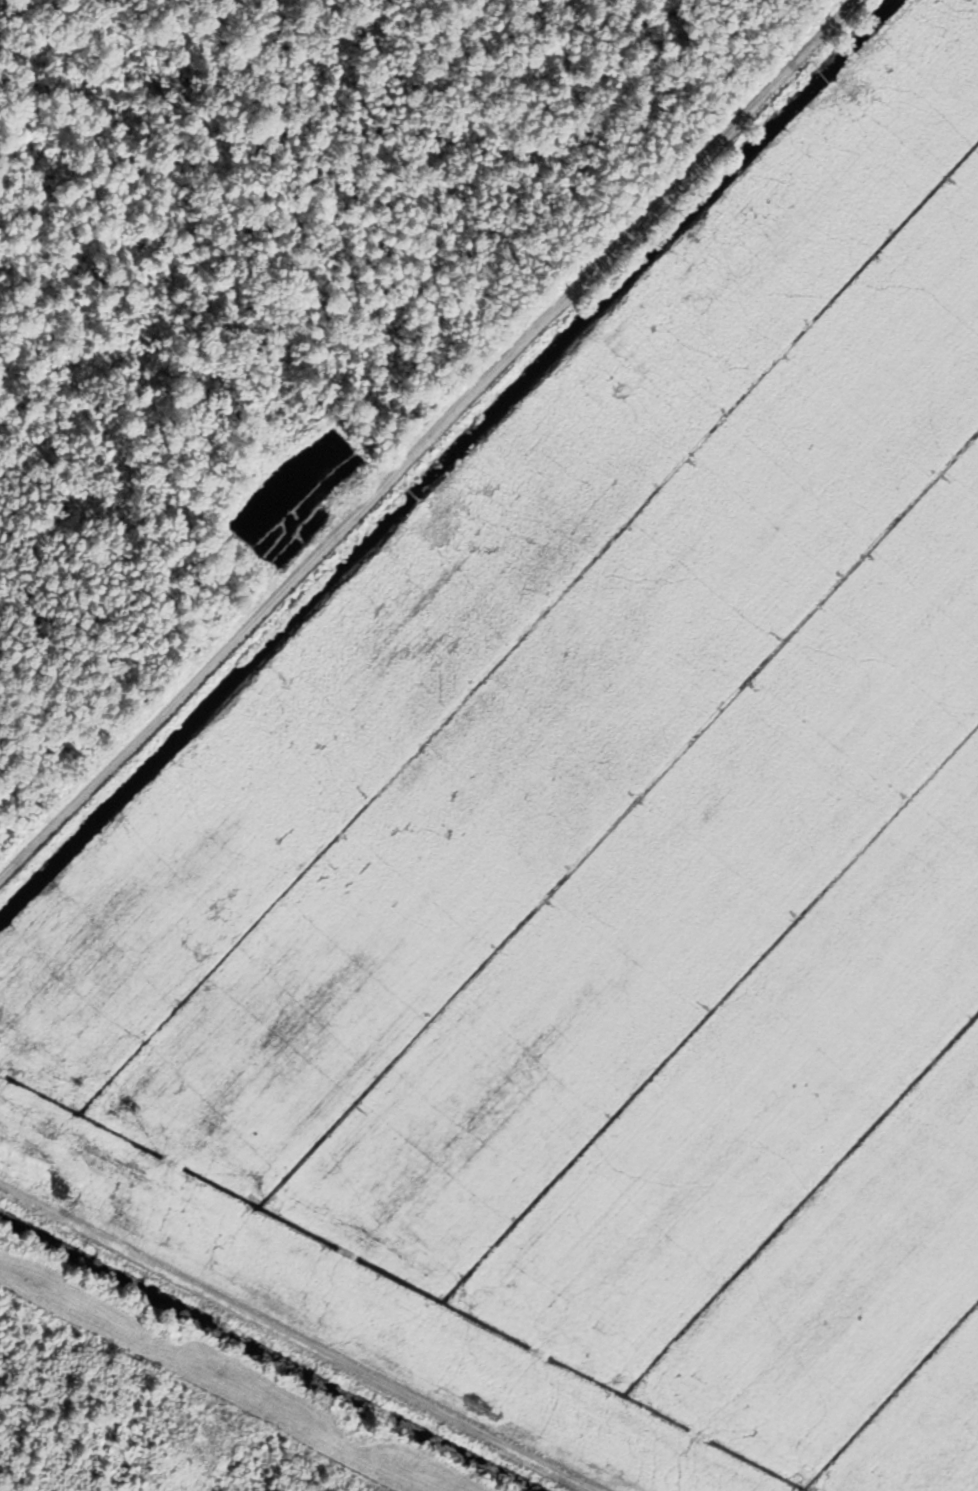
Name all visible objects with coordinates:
road: (426, 436)
crop: (603, 873)
road: (292, 1339)

